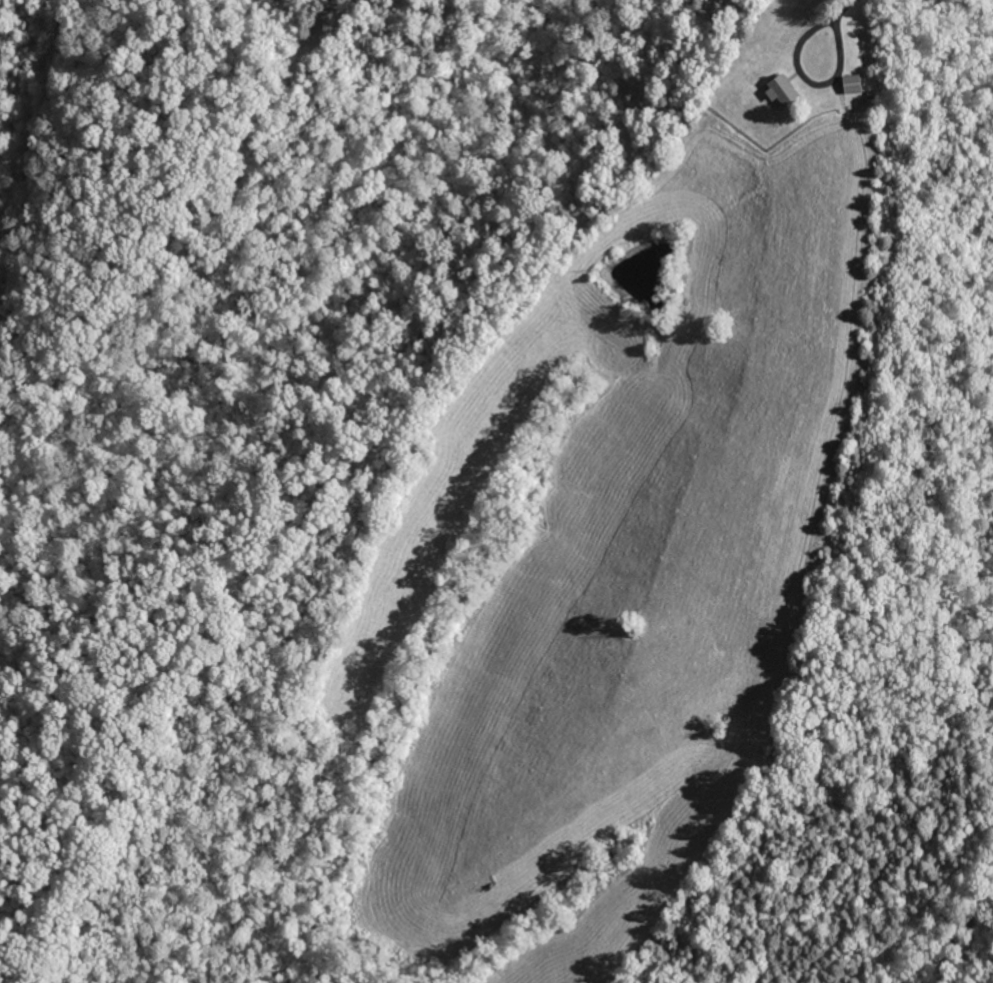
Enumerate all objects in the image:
building: (778, 89)

